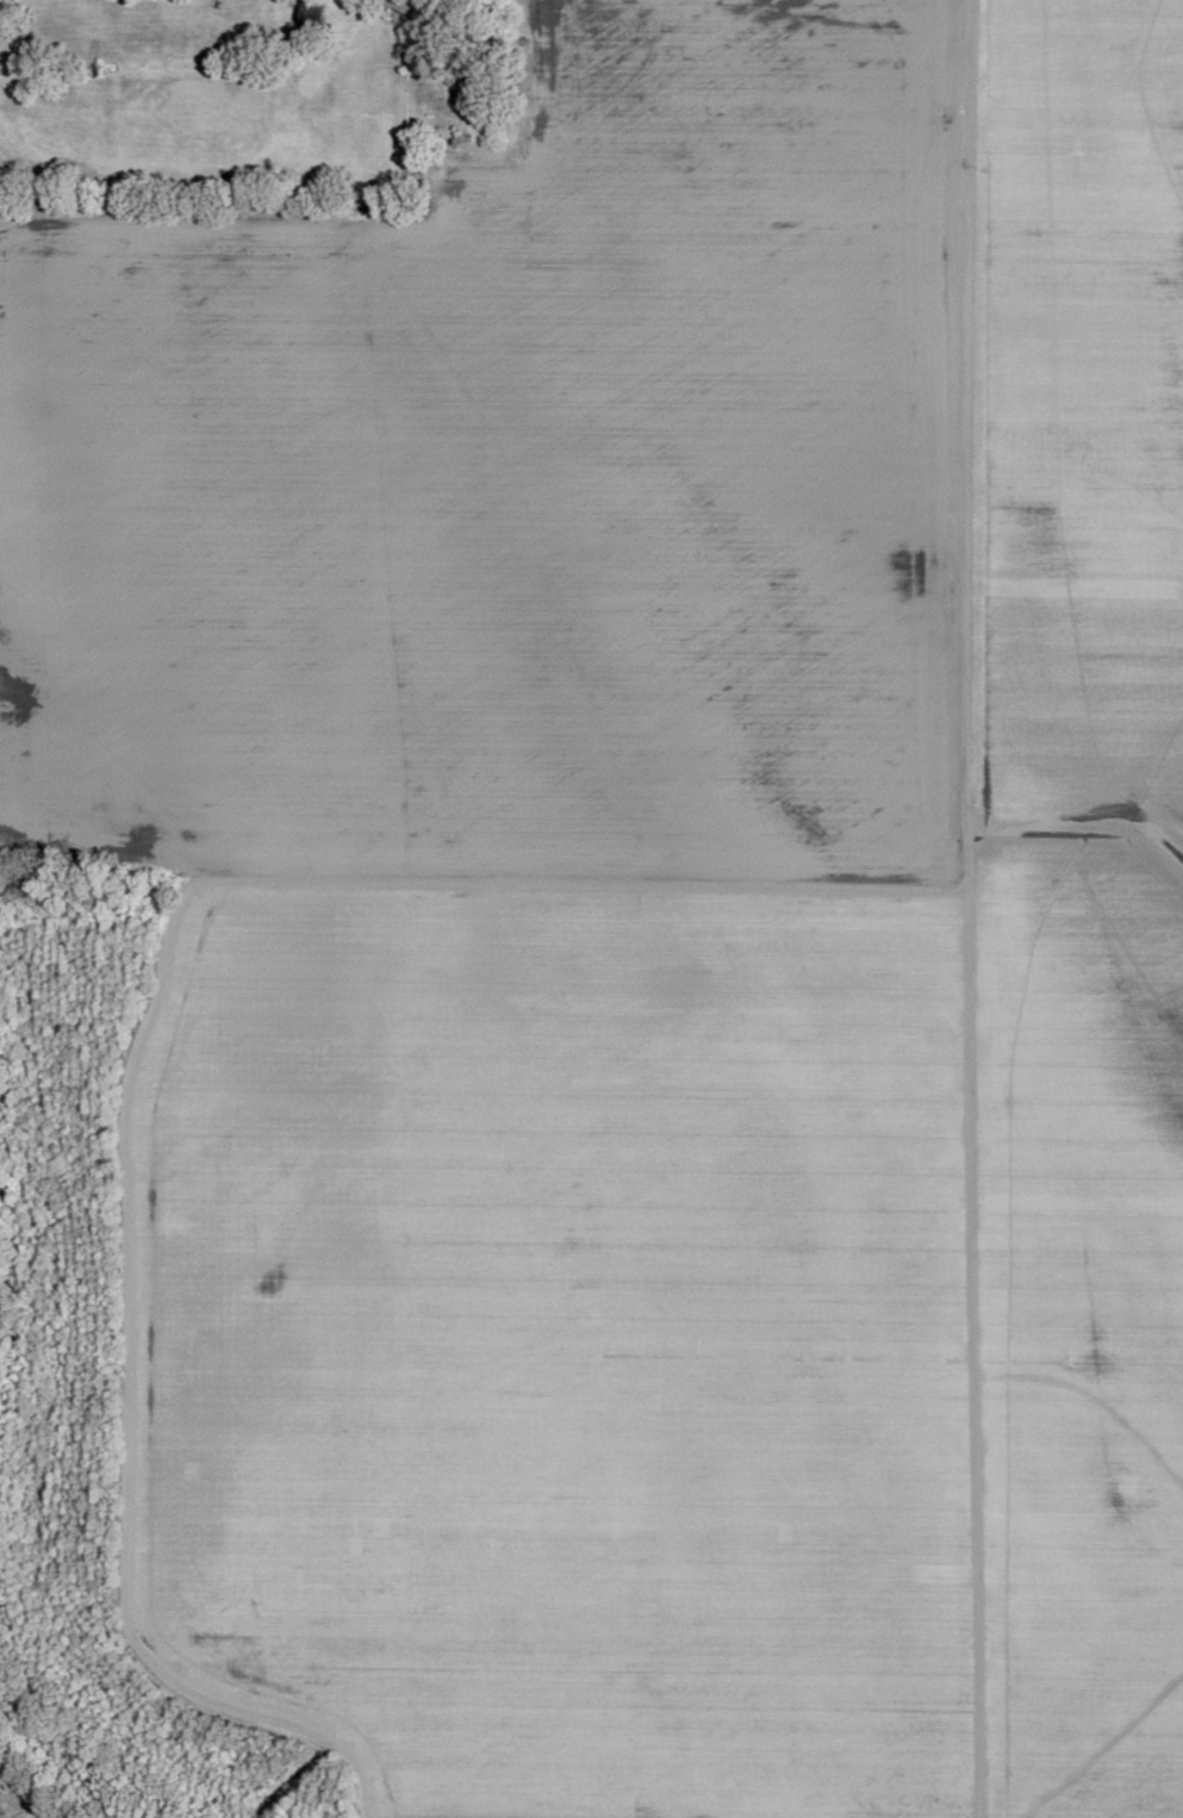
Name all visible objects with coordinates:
road: (394, 5)

